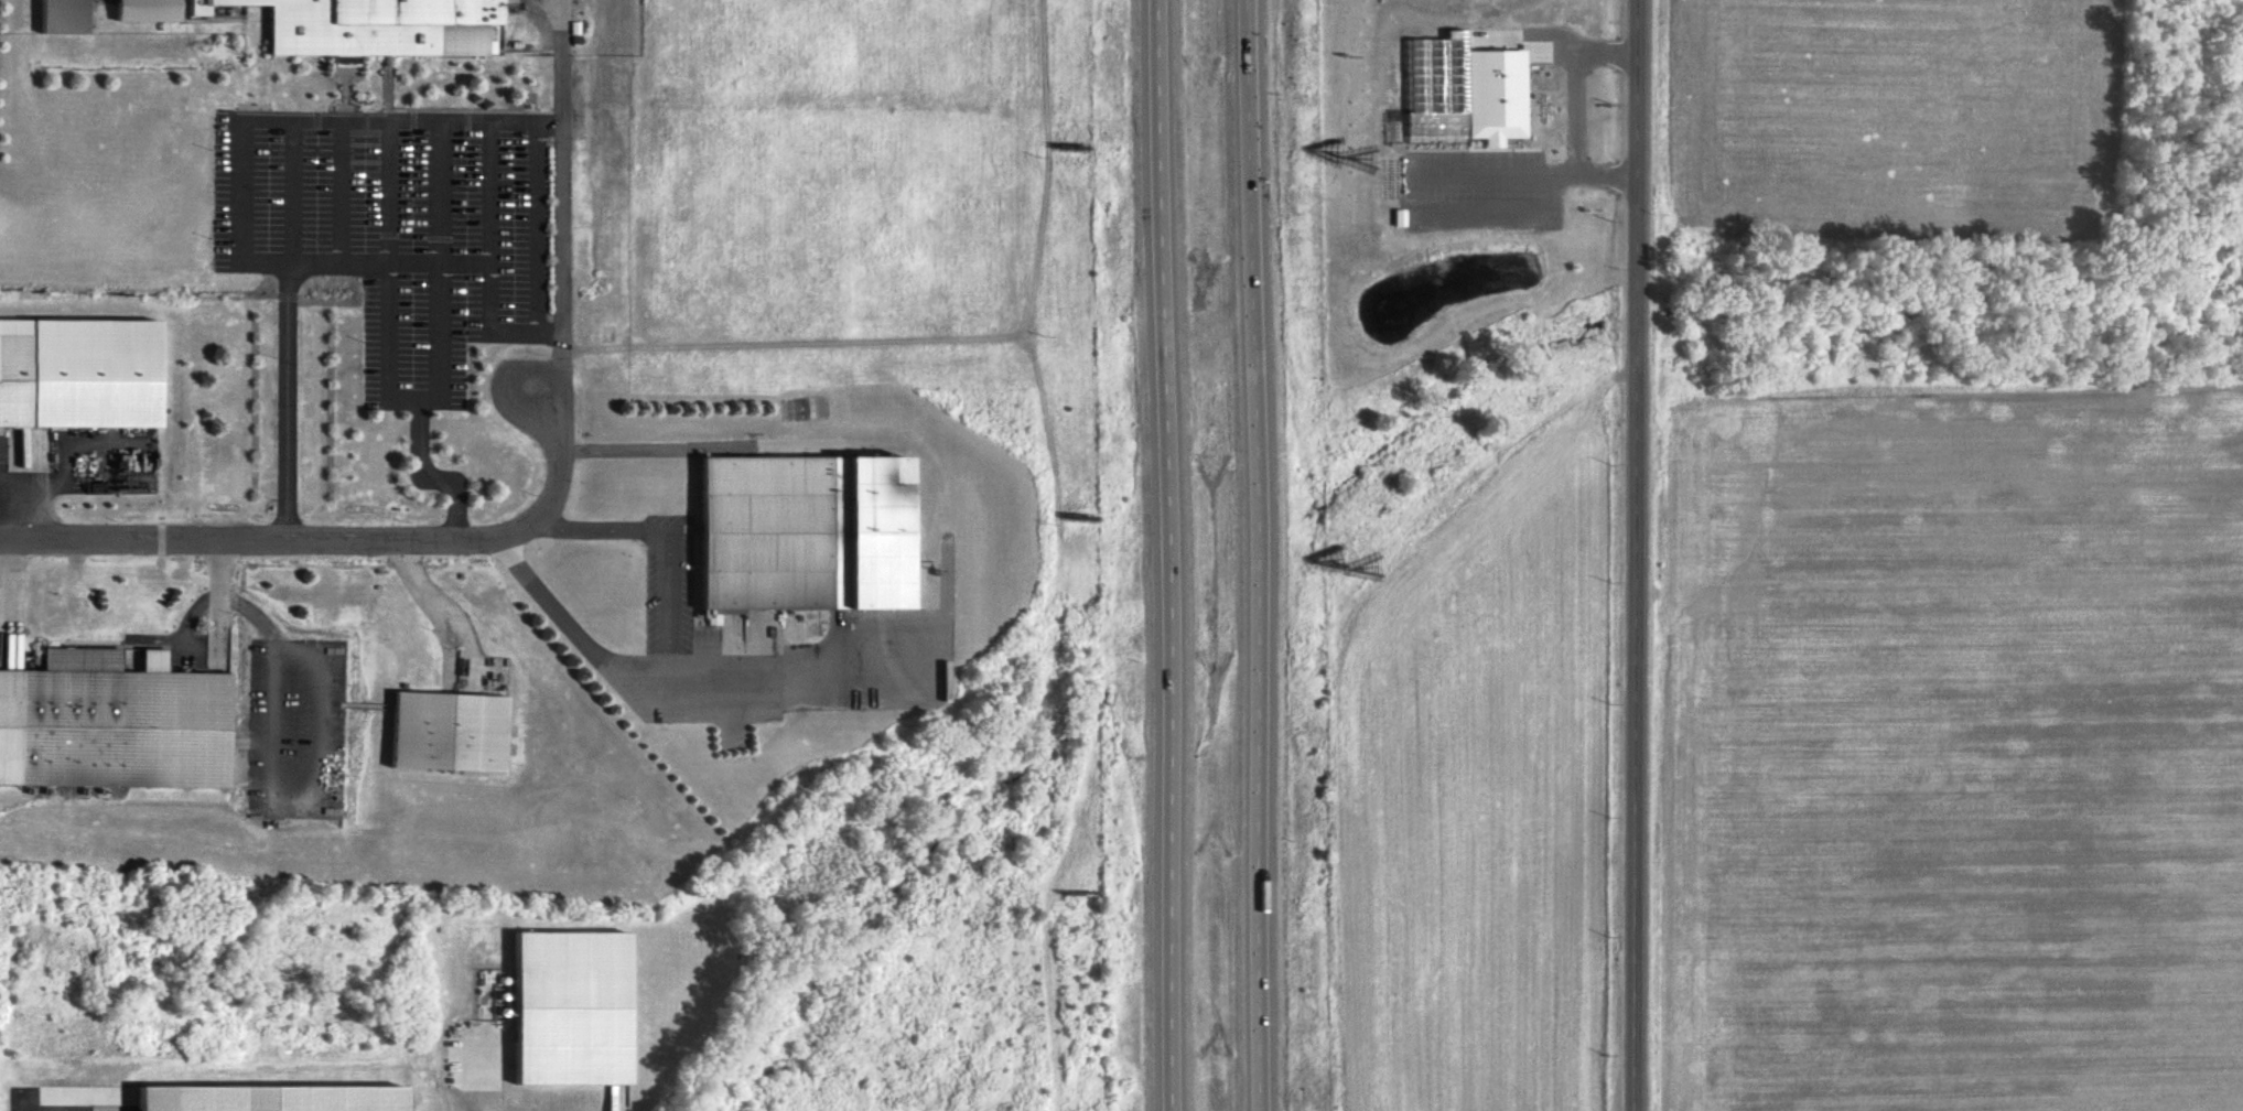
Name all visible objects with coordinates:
building: (145, 12)
building: (63, 18)
building: (371, 26)
building: (1465, 85)
road: (363, 123)
road: (563, 166)
road: (294, 194)
road: (342, 194)
road: (440, 194)
road: (492, 194)
parking lot: (400, 233)
road: (563, 349)
building: (77, 380)
road: (440, 402)
road: (288, 403)
road: (432, 477)
building: (813, 531)
road: (355, 542)
road: (1628, 554)
road: (1166, 555)
road: (1254, 555)
building: (108, 737)
building: (435, 738)
building: (556, 1017)
building: (255, 1102)
road: (66, 1109)

